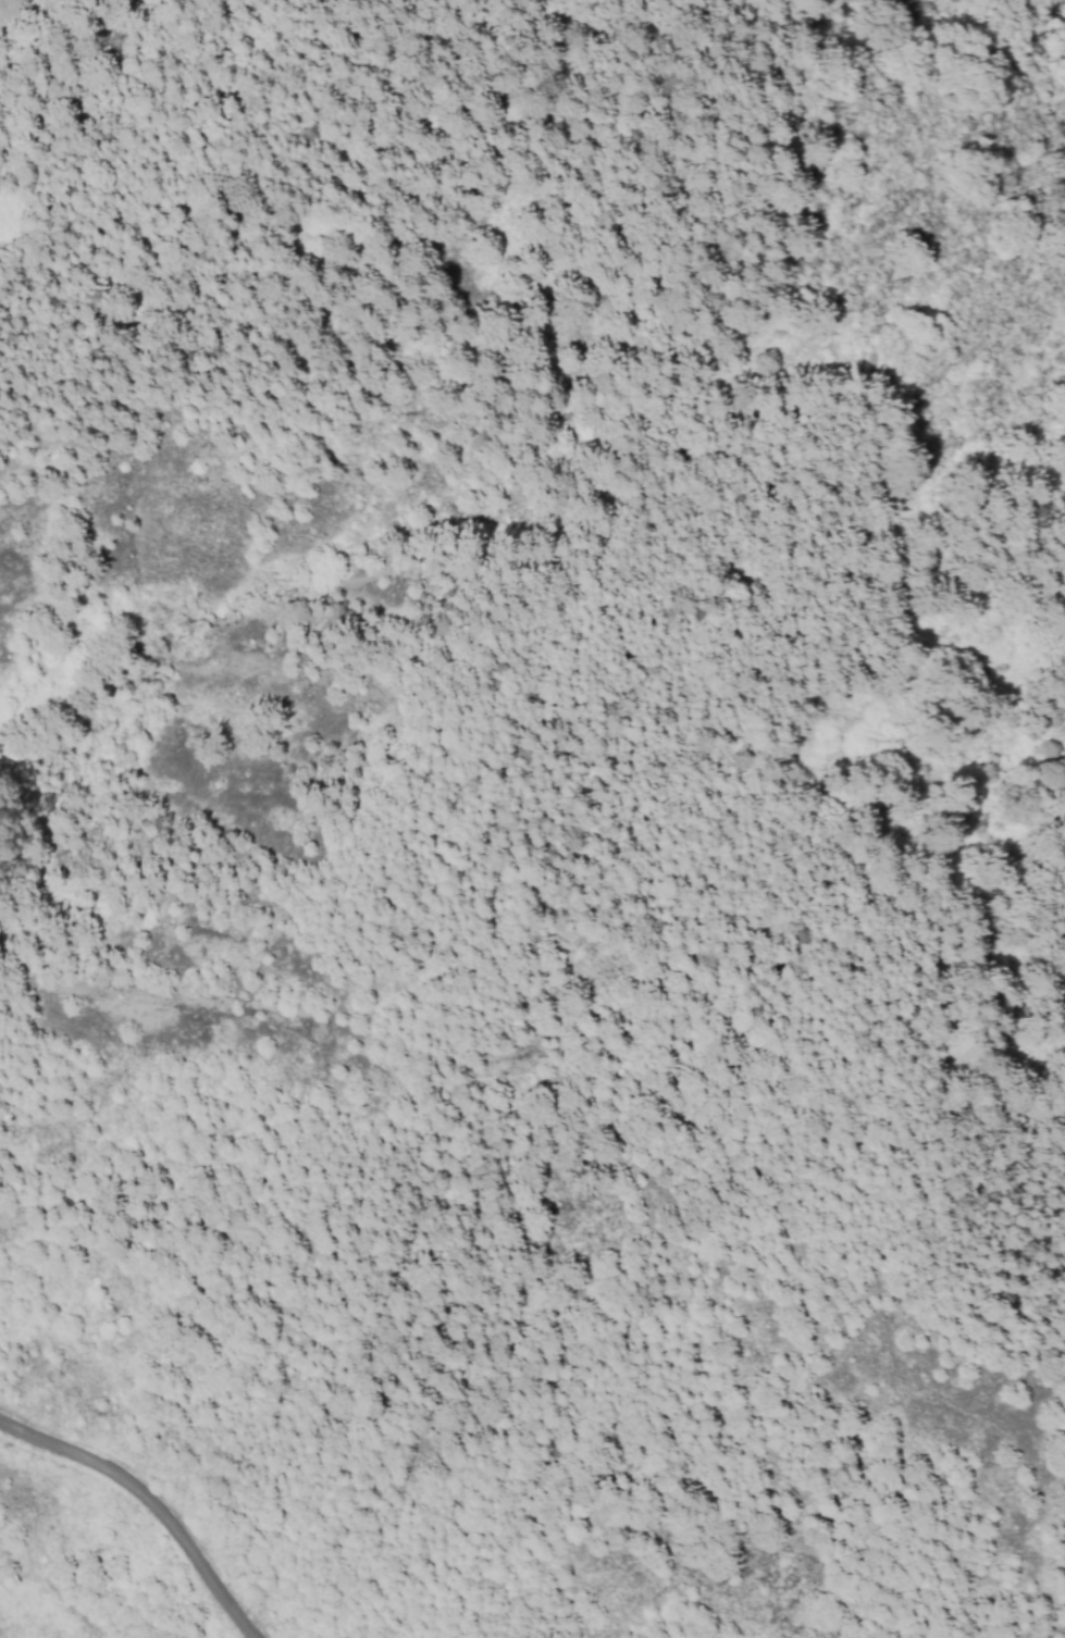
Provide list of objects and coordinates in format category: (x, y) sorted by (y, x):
road: (151, 1502)

